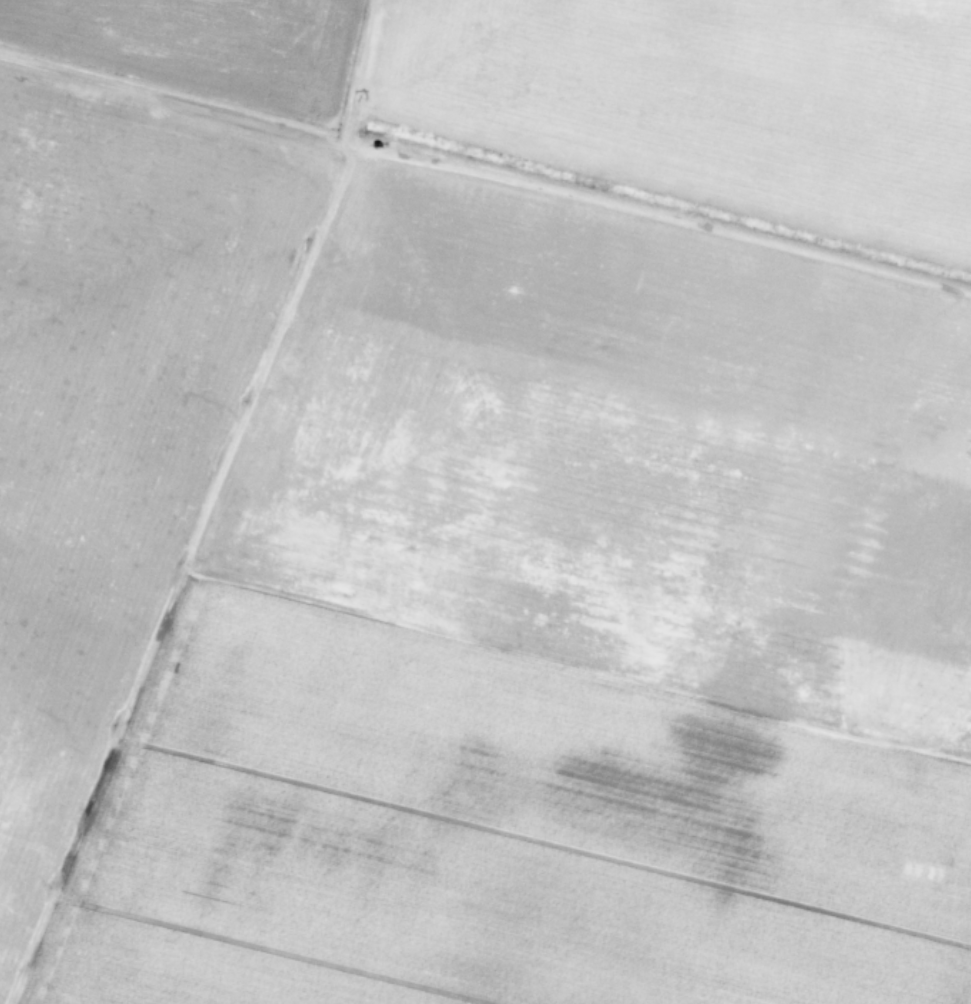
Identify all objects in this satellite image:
crop: (485, 502)

